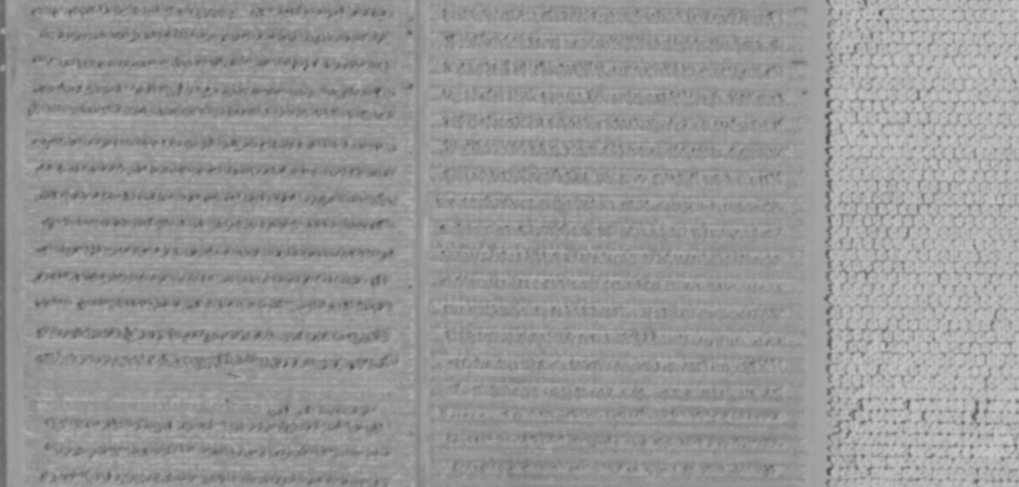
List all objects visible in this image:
crop: (509, 243)
road: (796, 243)

